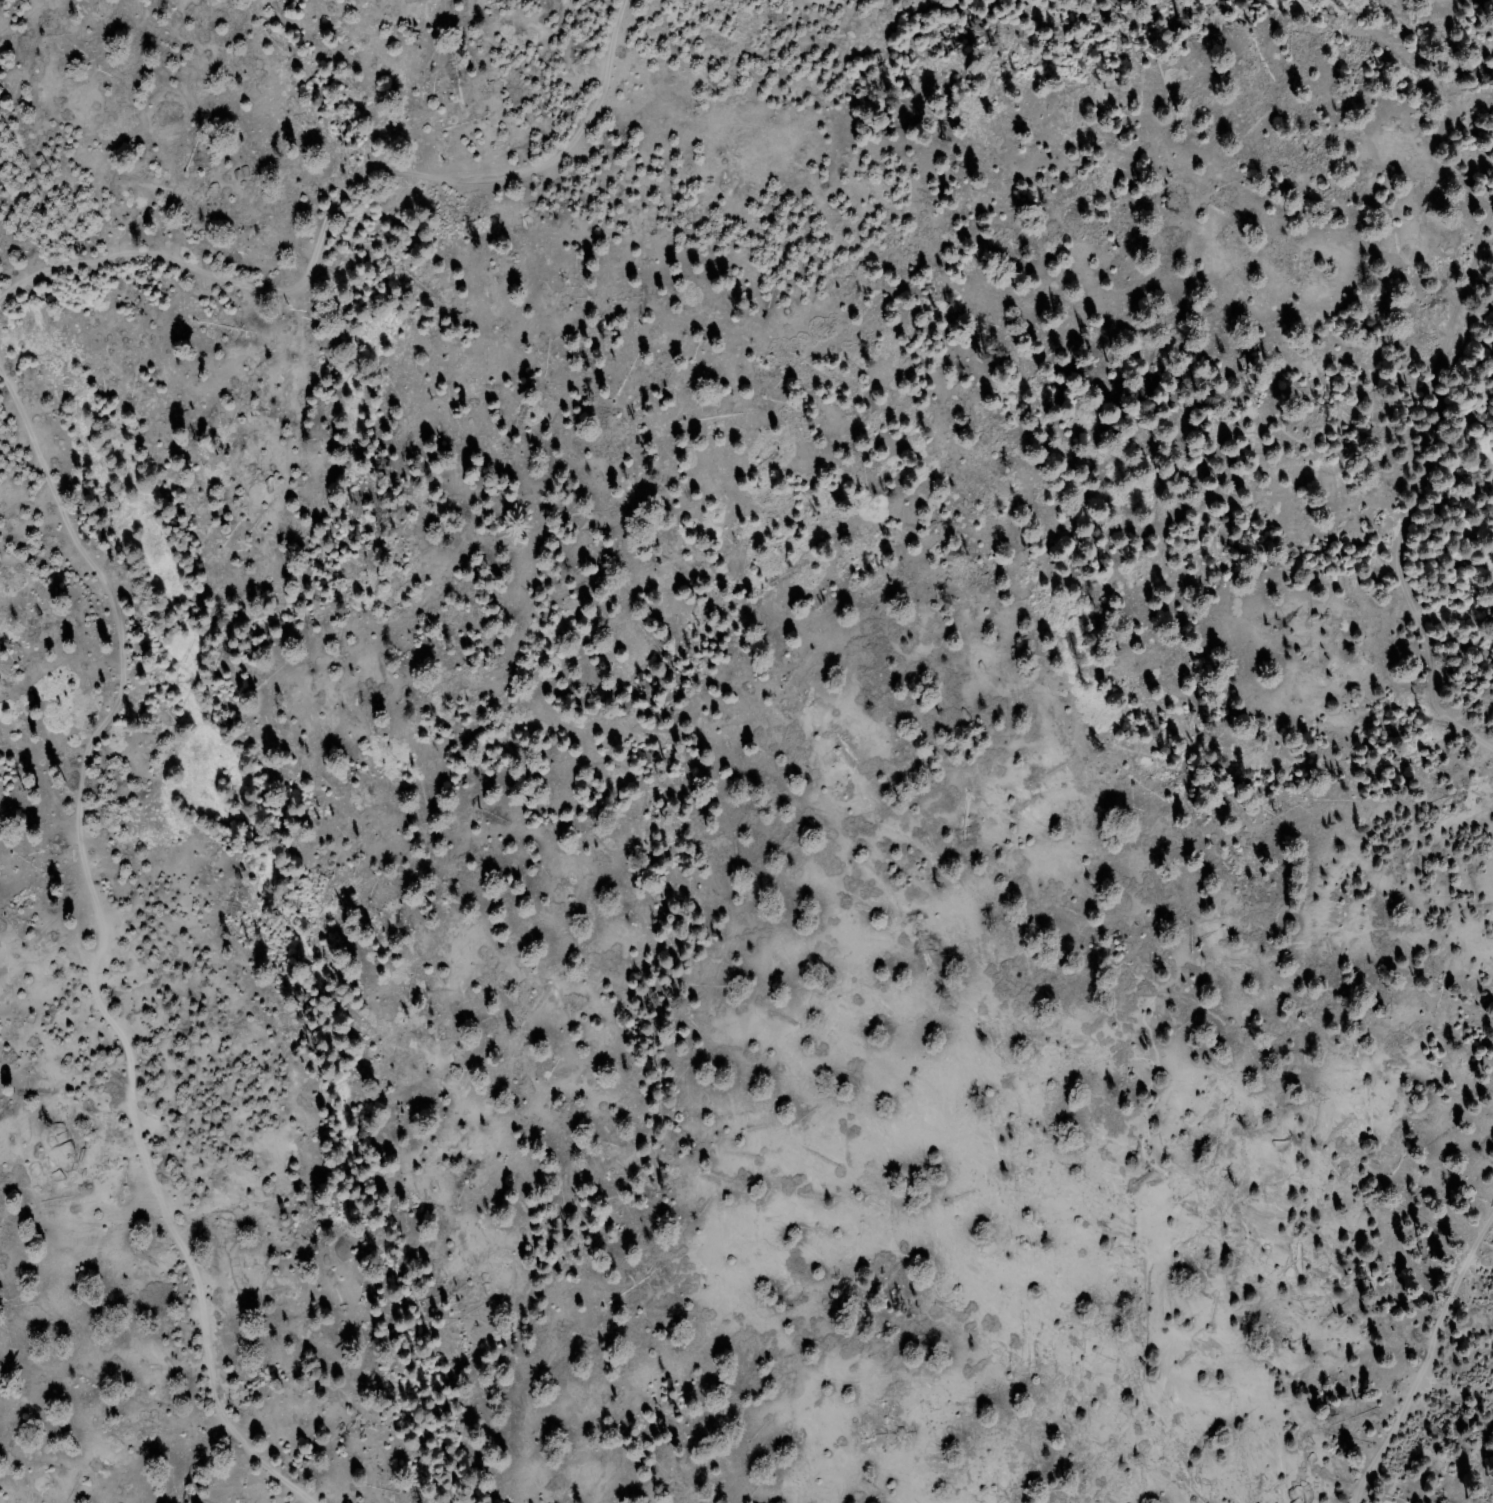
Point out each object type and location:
road: (335, 203)
road: (99, 951)

